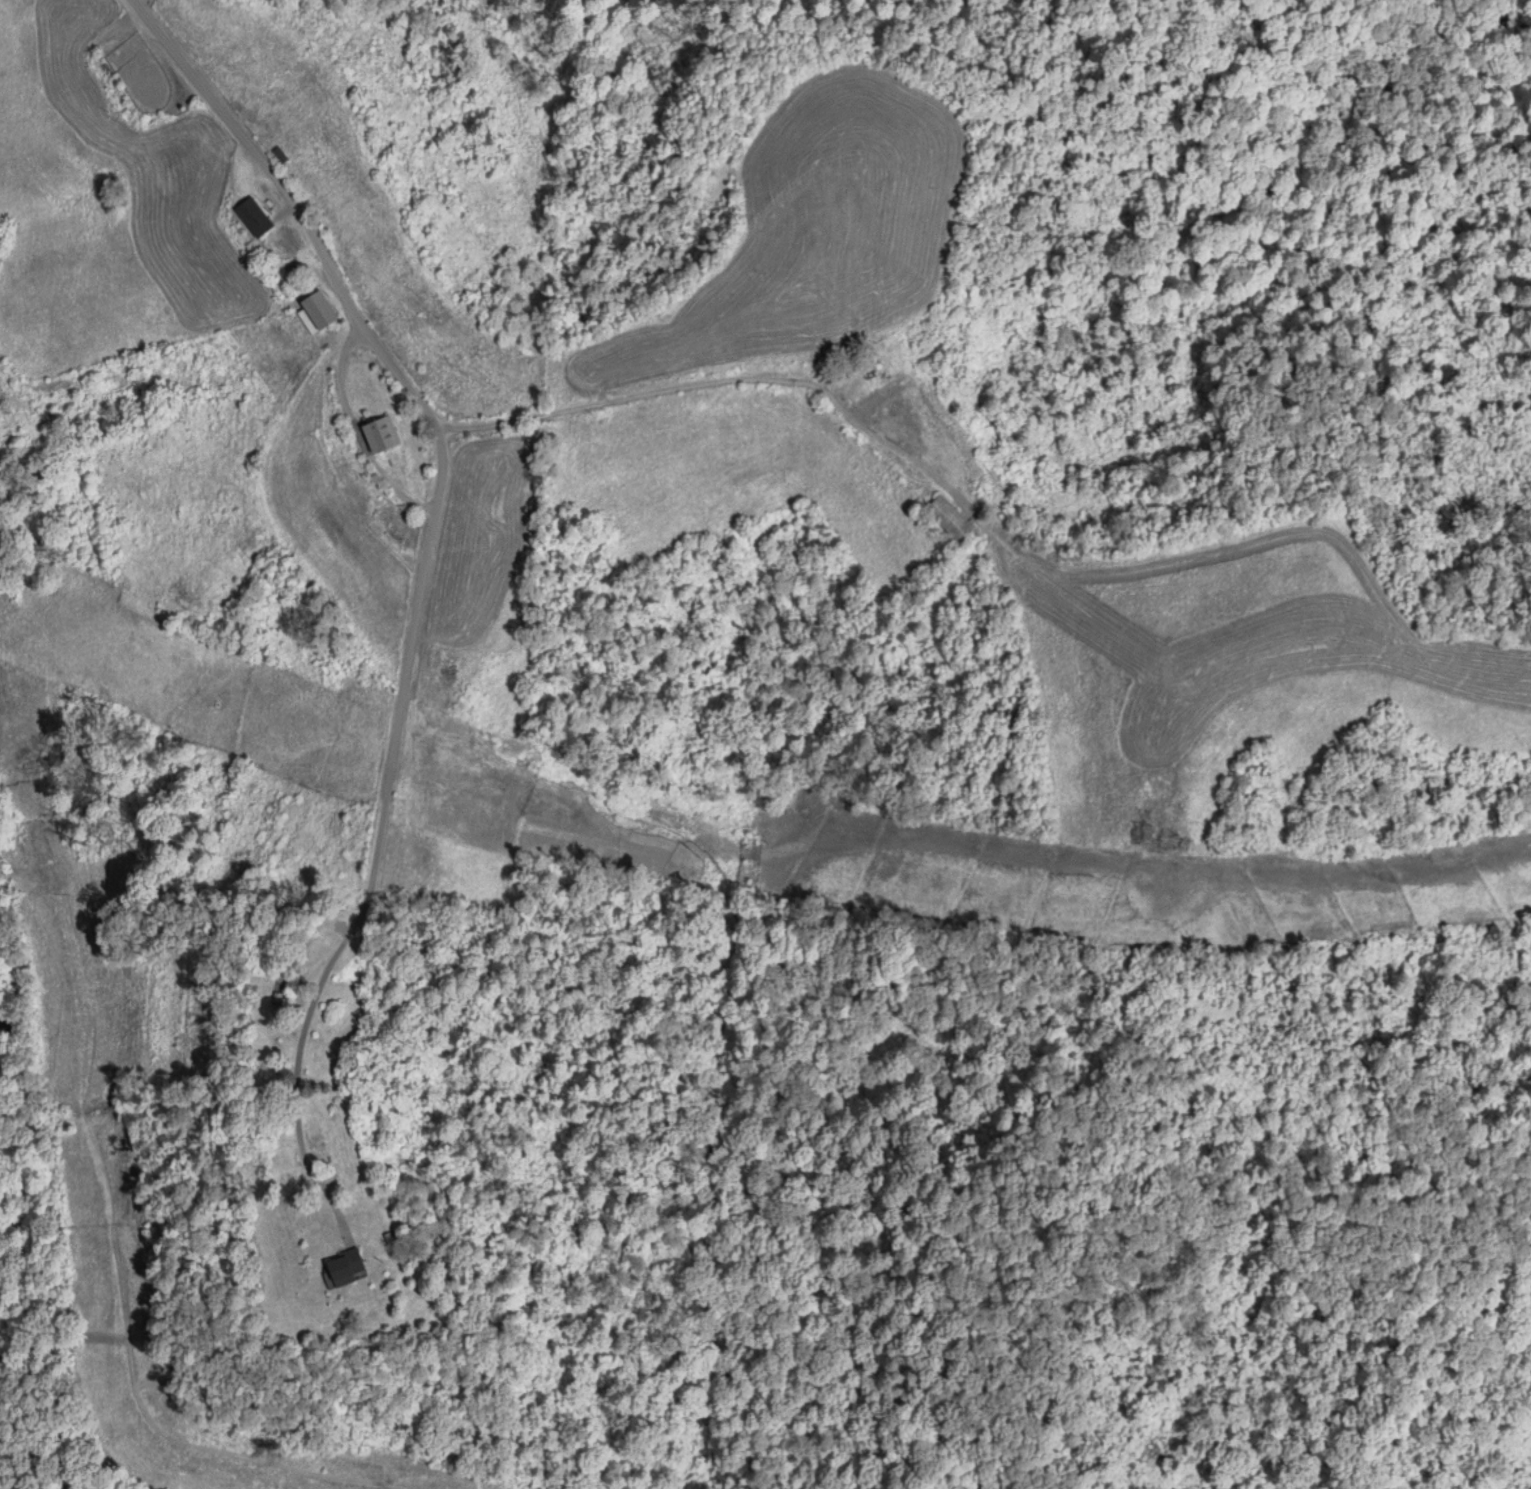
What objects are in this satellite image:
road: (296, 203)
building: (252, 220)
building: (314, 314)
road: (354, 431)
building: (376, 438)
building: (948, 520)
road: (929, 566)
road: (379, 837)
building: (316, 1146)

